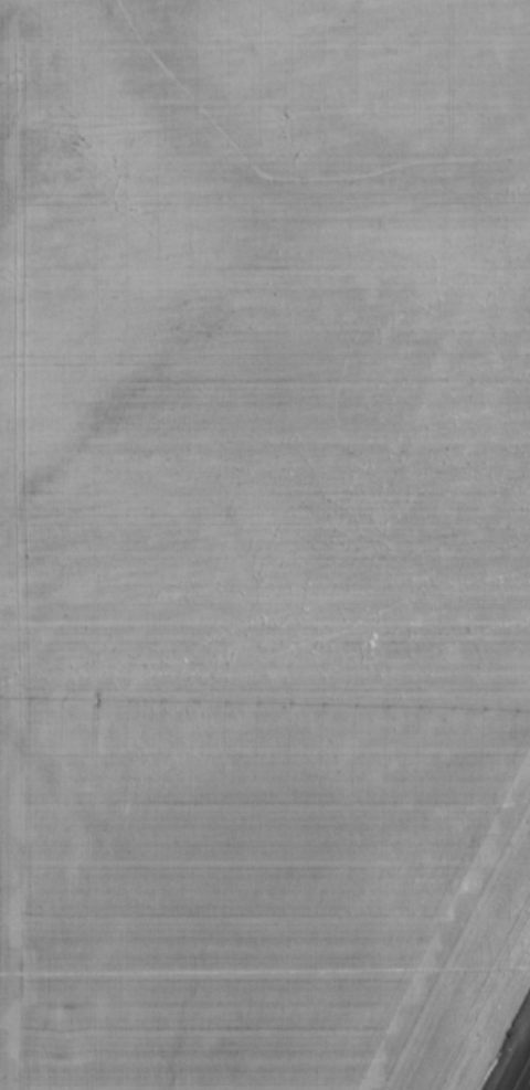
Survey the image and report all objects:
road: (526, 1082)

